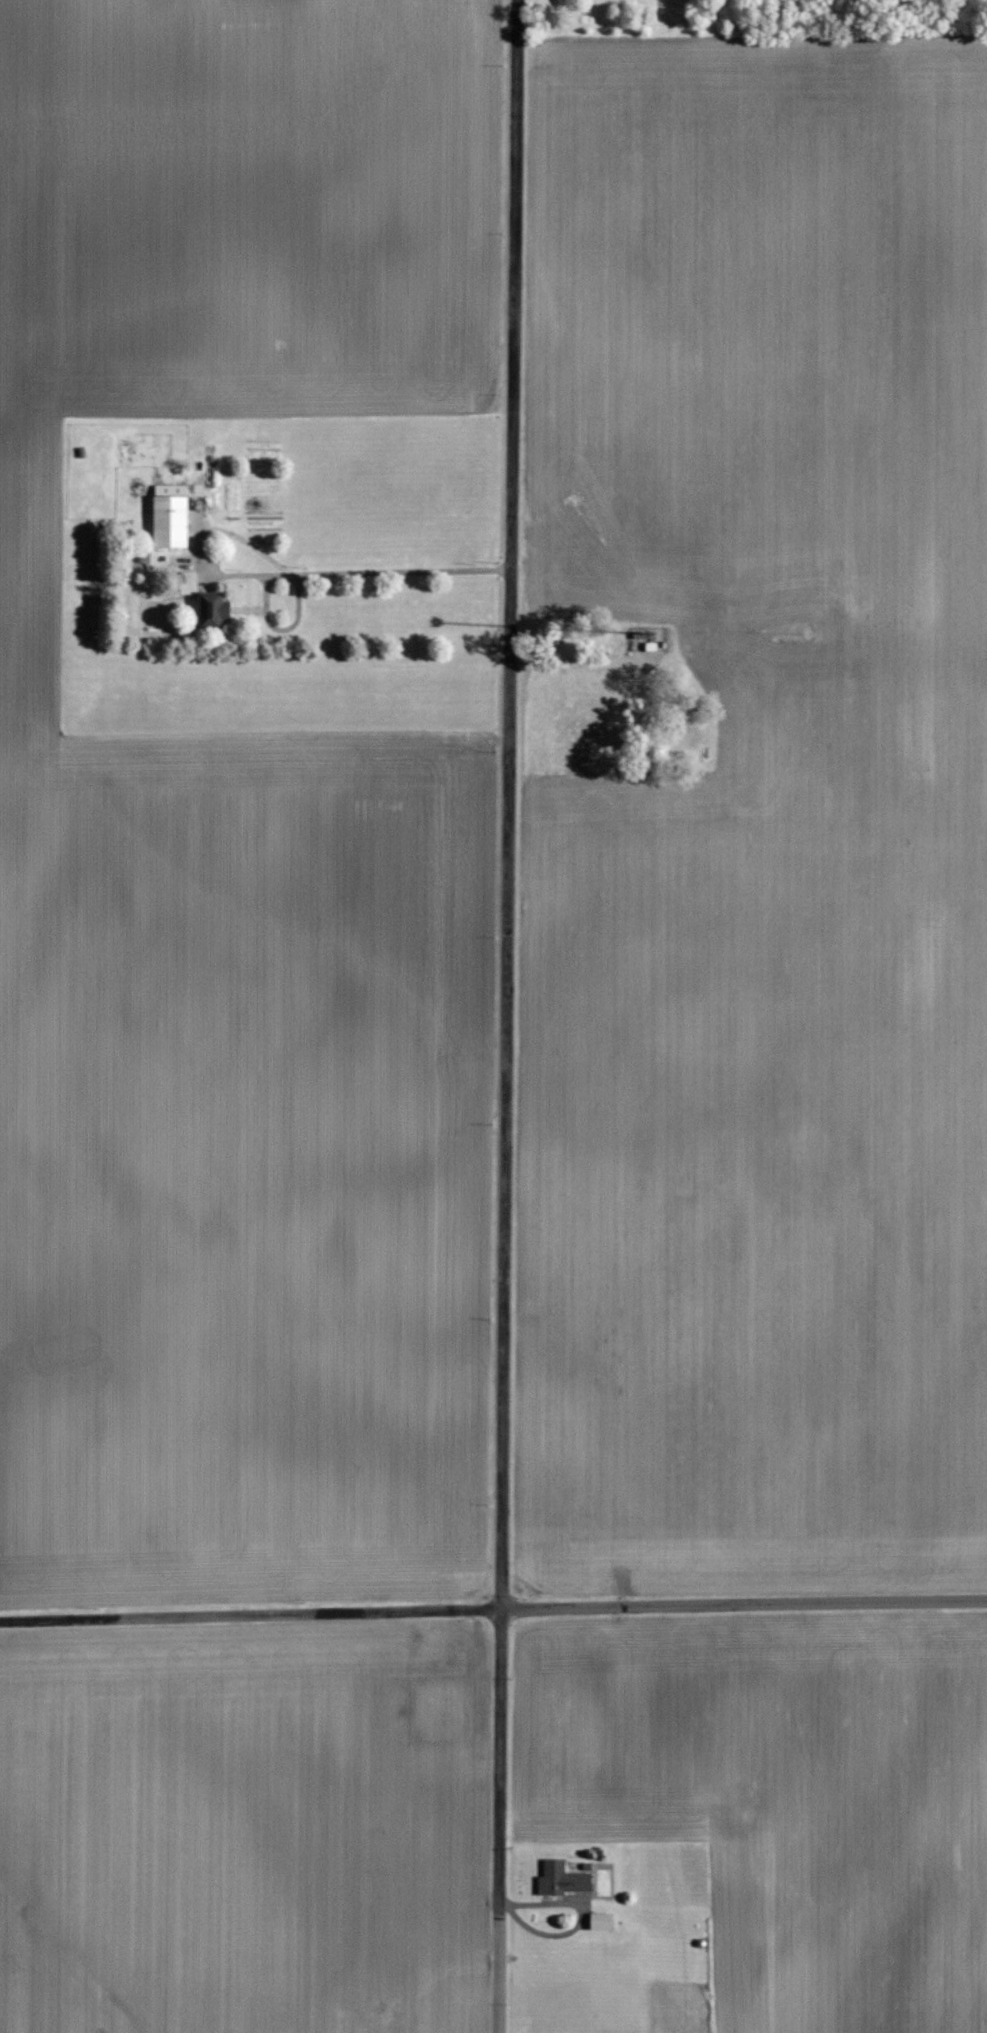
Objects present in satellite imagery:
building: (170, 521)
road: (293, 577)
building: (188, 583)
building: (213, 610)
building: (651, 645)
road: (585, 661)
road: (505, 1016)
road: (744, 1603)
road: (251, 1608)
building: (563, 1879)

